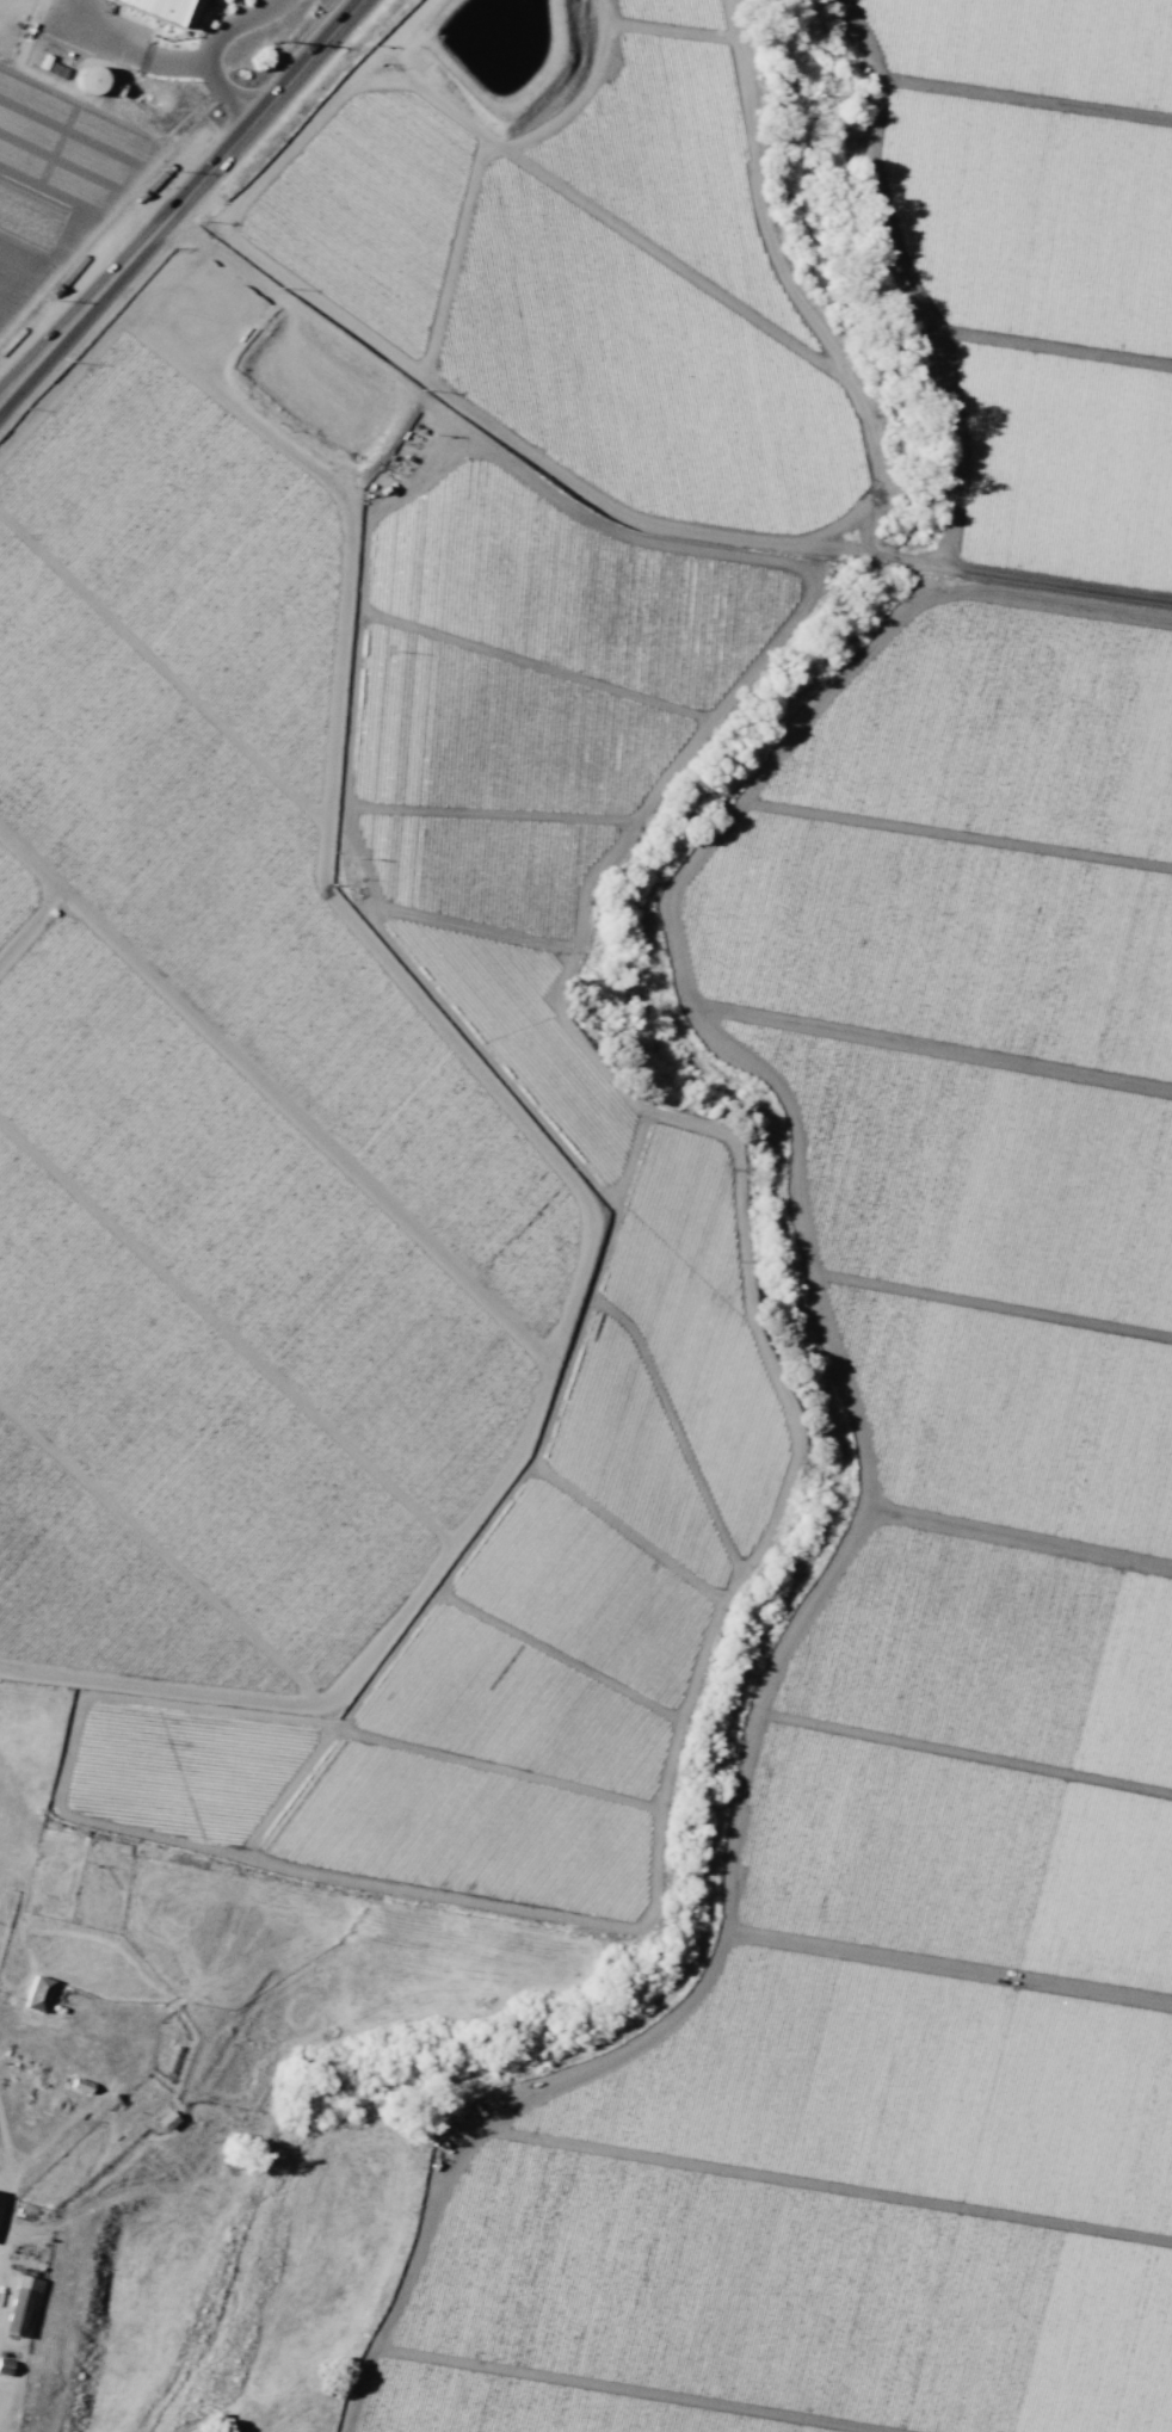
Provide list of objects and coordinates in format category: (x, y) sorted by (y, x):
building: (154, 8)
road: (212, 47)
crop: (86, 125)
road: (178, 197)
crop: (585, 252)
crop: (218, 1078)
crop: (937, 1419)
building: (37, 1993)
building: (0, 2198)
building: (21, 2306)

